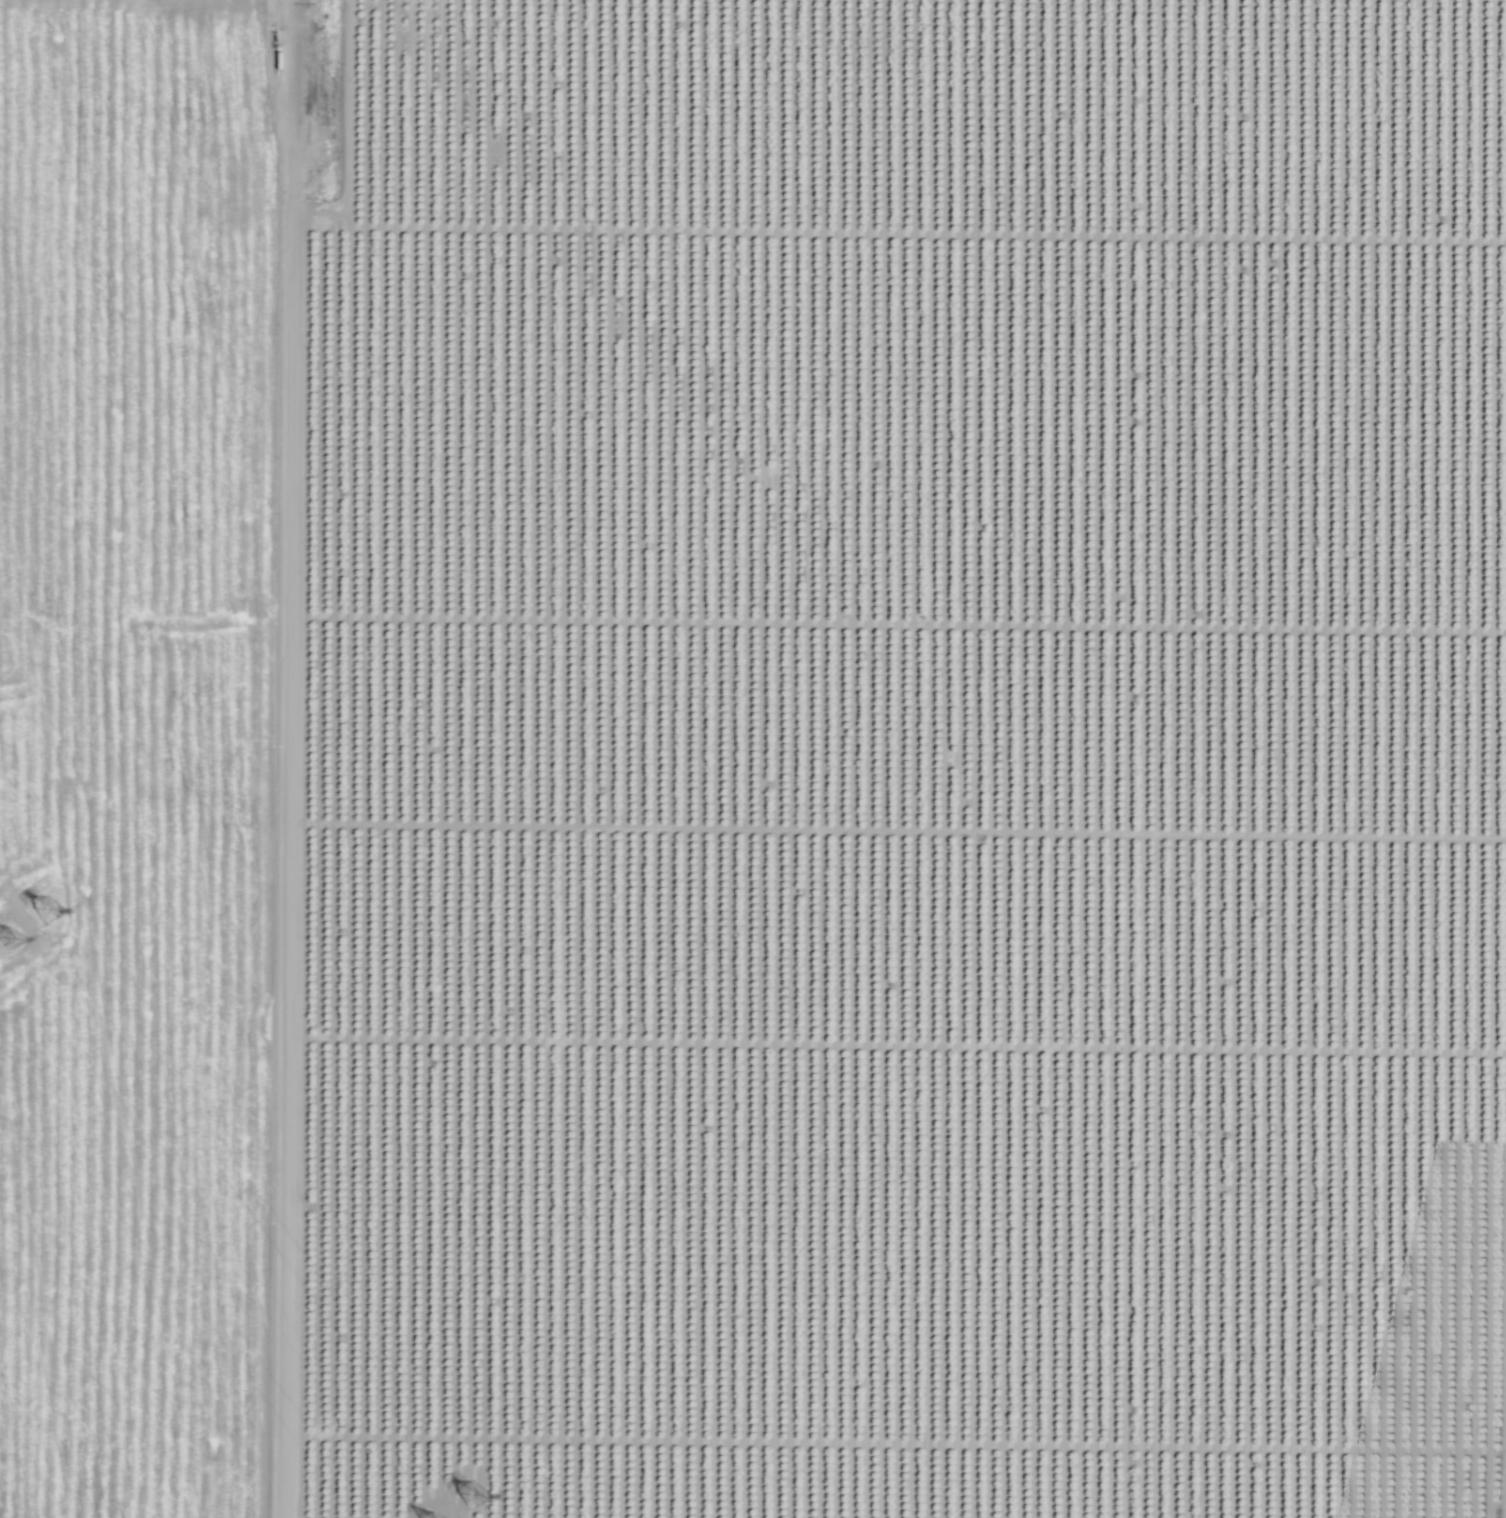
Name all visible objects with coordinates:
power tower: (44, 911)
power tower: (8, 937)
power tower: (467, 1490)

